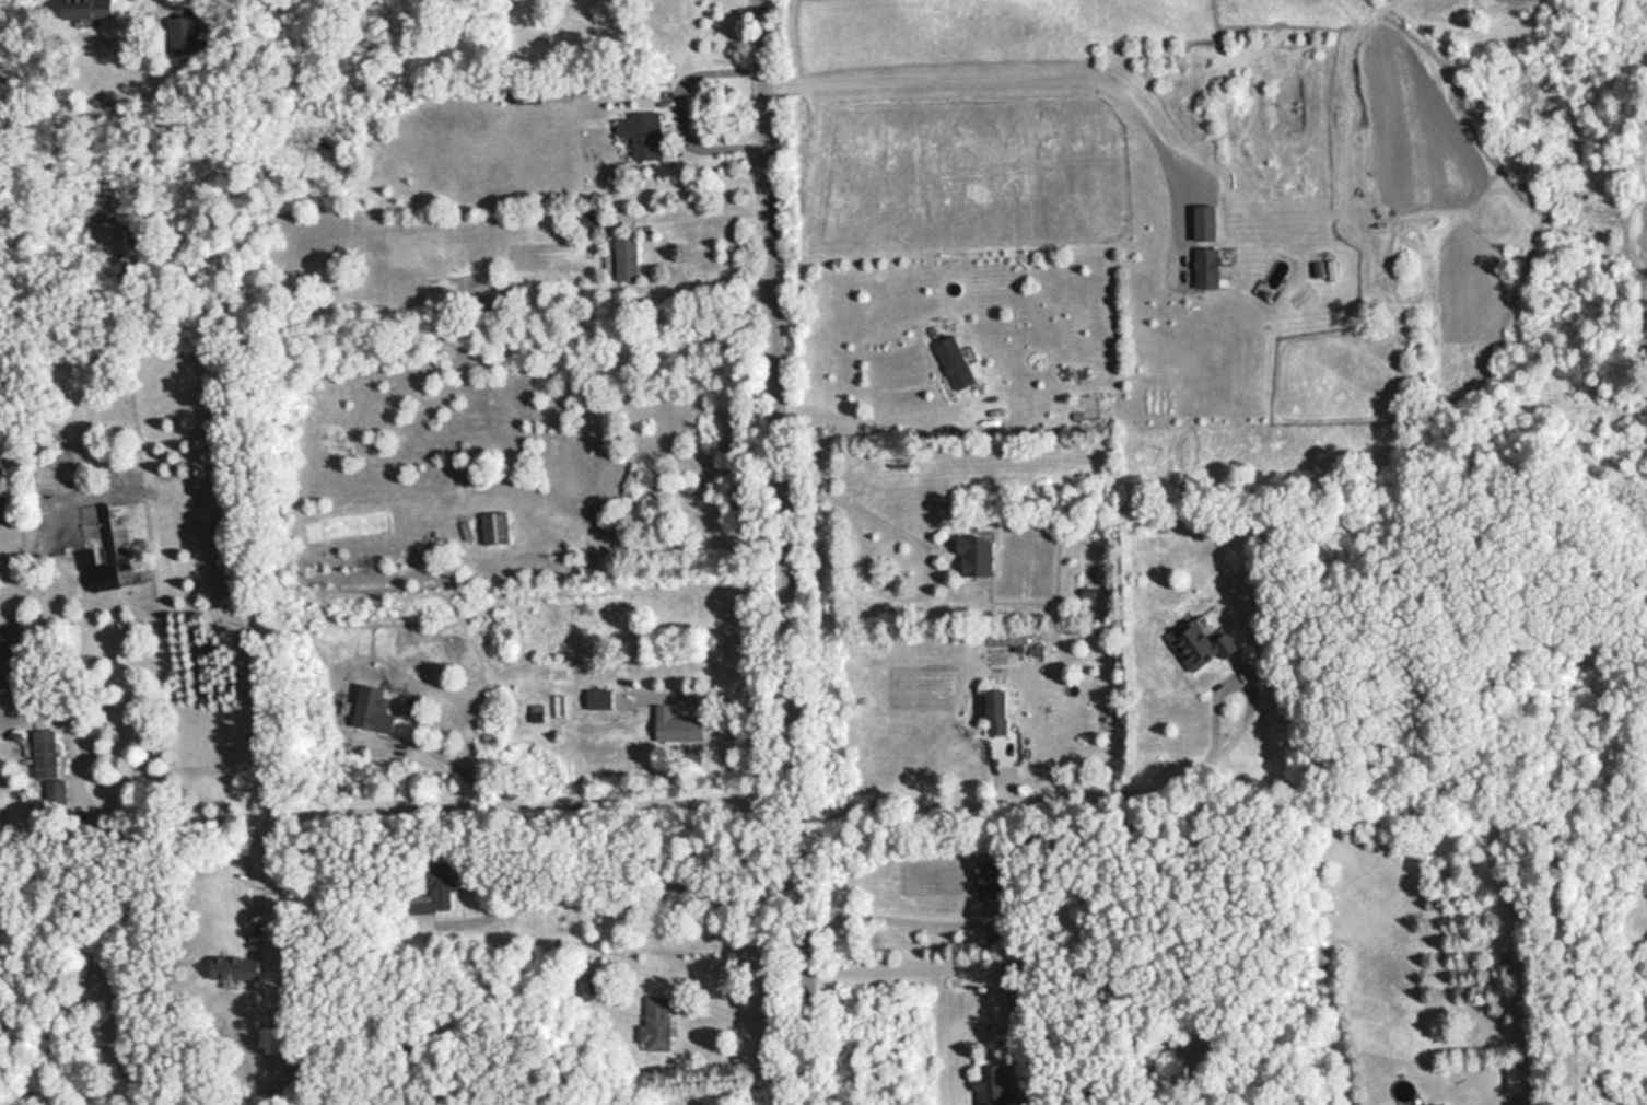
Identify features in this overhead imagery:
building: (83, 8)
building: (184, 33)
road: (1015, 72)
road: (679, 106)
building: (641, 133)
road: (698, 208)
building: (626, 256)
building: (1203, 267)
building: (953, 361)
road: (860, 414)
road: (861, 513)
building: (493, 527)
road: (787, 551)
building: (971, 556)
building: (108, 577)
building: (1196, 644)
road: (731, 696)
building: (600, 697)
building: (1001, 709)
building: (678, 724)
building: (47, 752)
building: (57, 792)
road: (1103, 793)
road: (435, 804)
building: (992, 874)
road: (264, 880)
building: (437, 891)
road: (630, 905)
road: (897, 917)
building: (238, 966)
road: (911, 966)
building: (601, 981)
road: (741, 1010)
building: (658, 1023)
building: (1017, 1038)
building: (994, 1084)
building: (1444, 1104)

